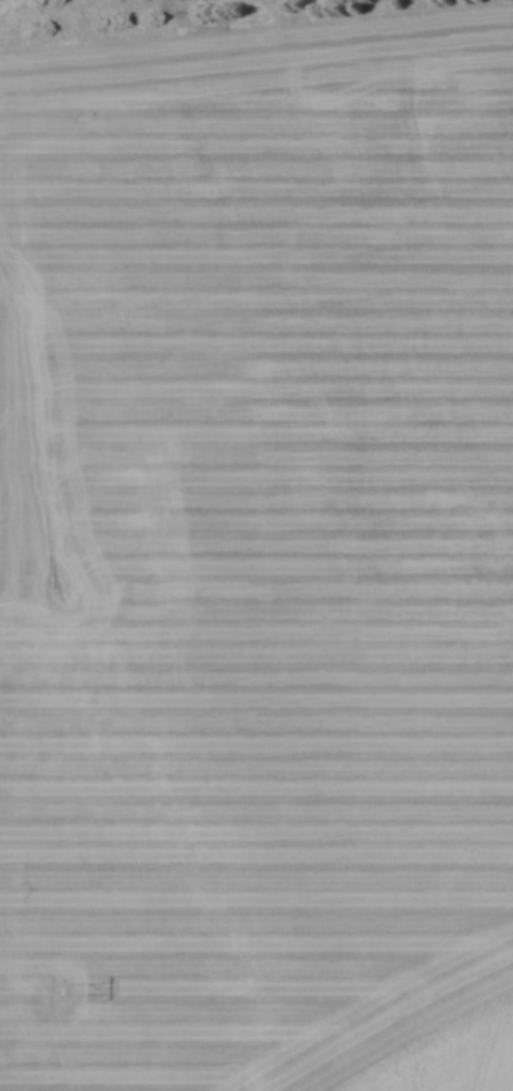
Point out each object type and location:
power tower: (59, 993)

